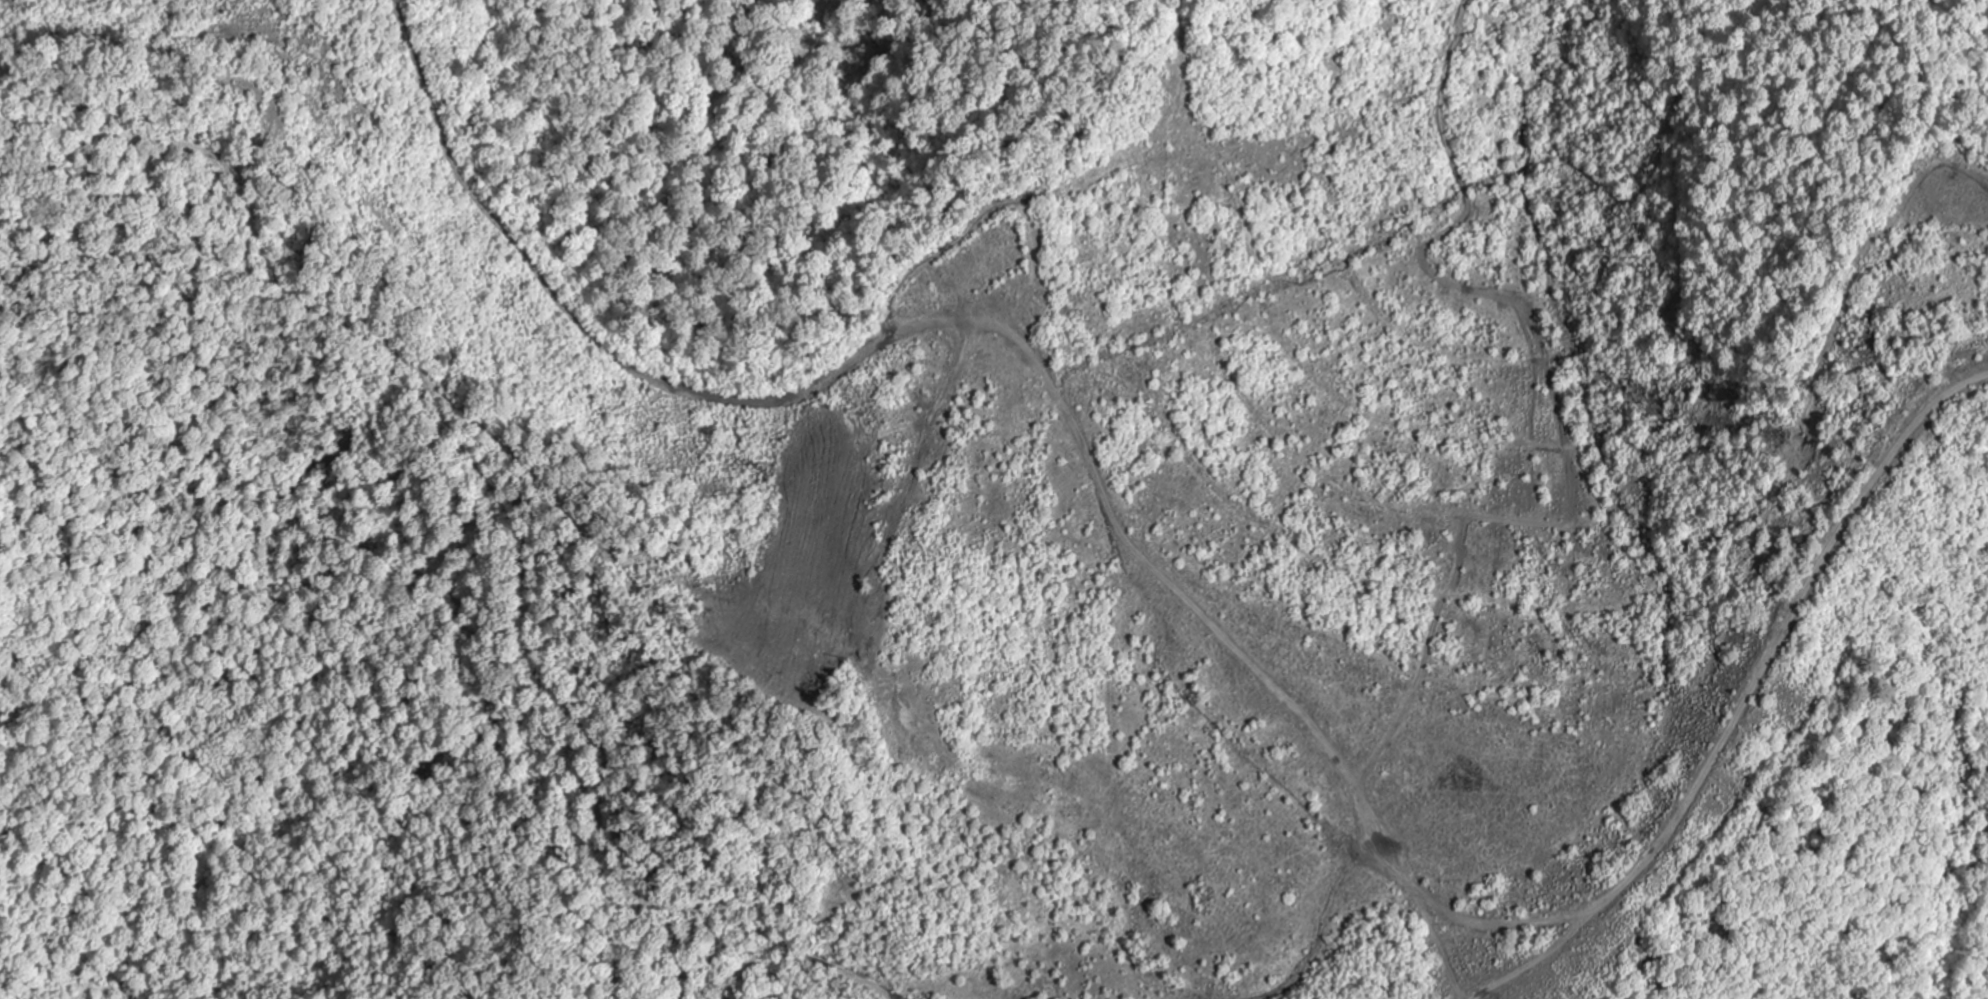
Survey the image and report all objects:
road: (57, 509)
road: (455, 515)
road: (1767, 724)

